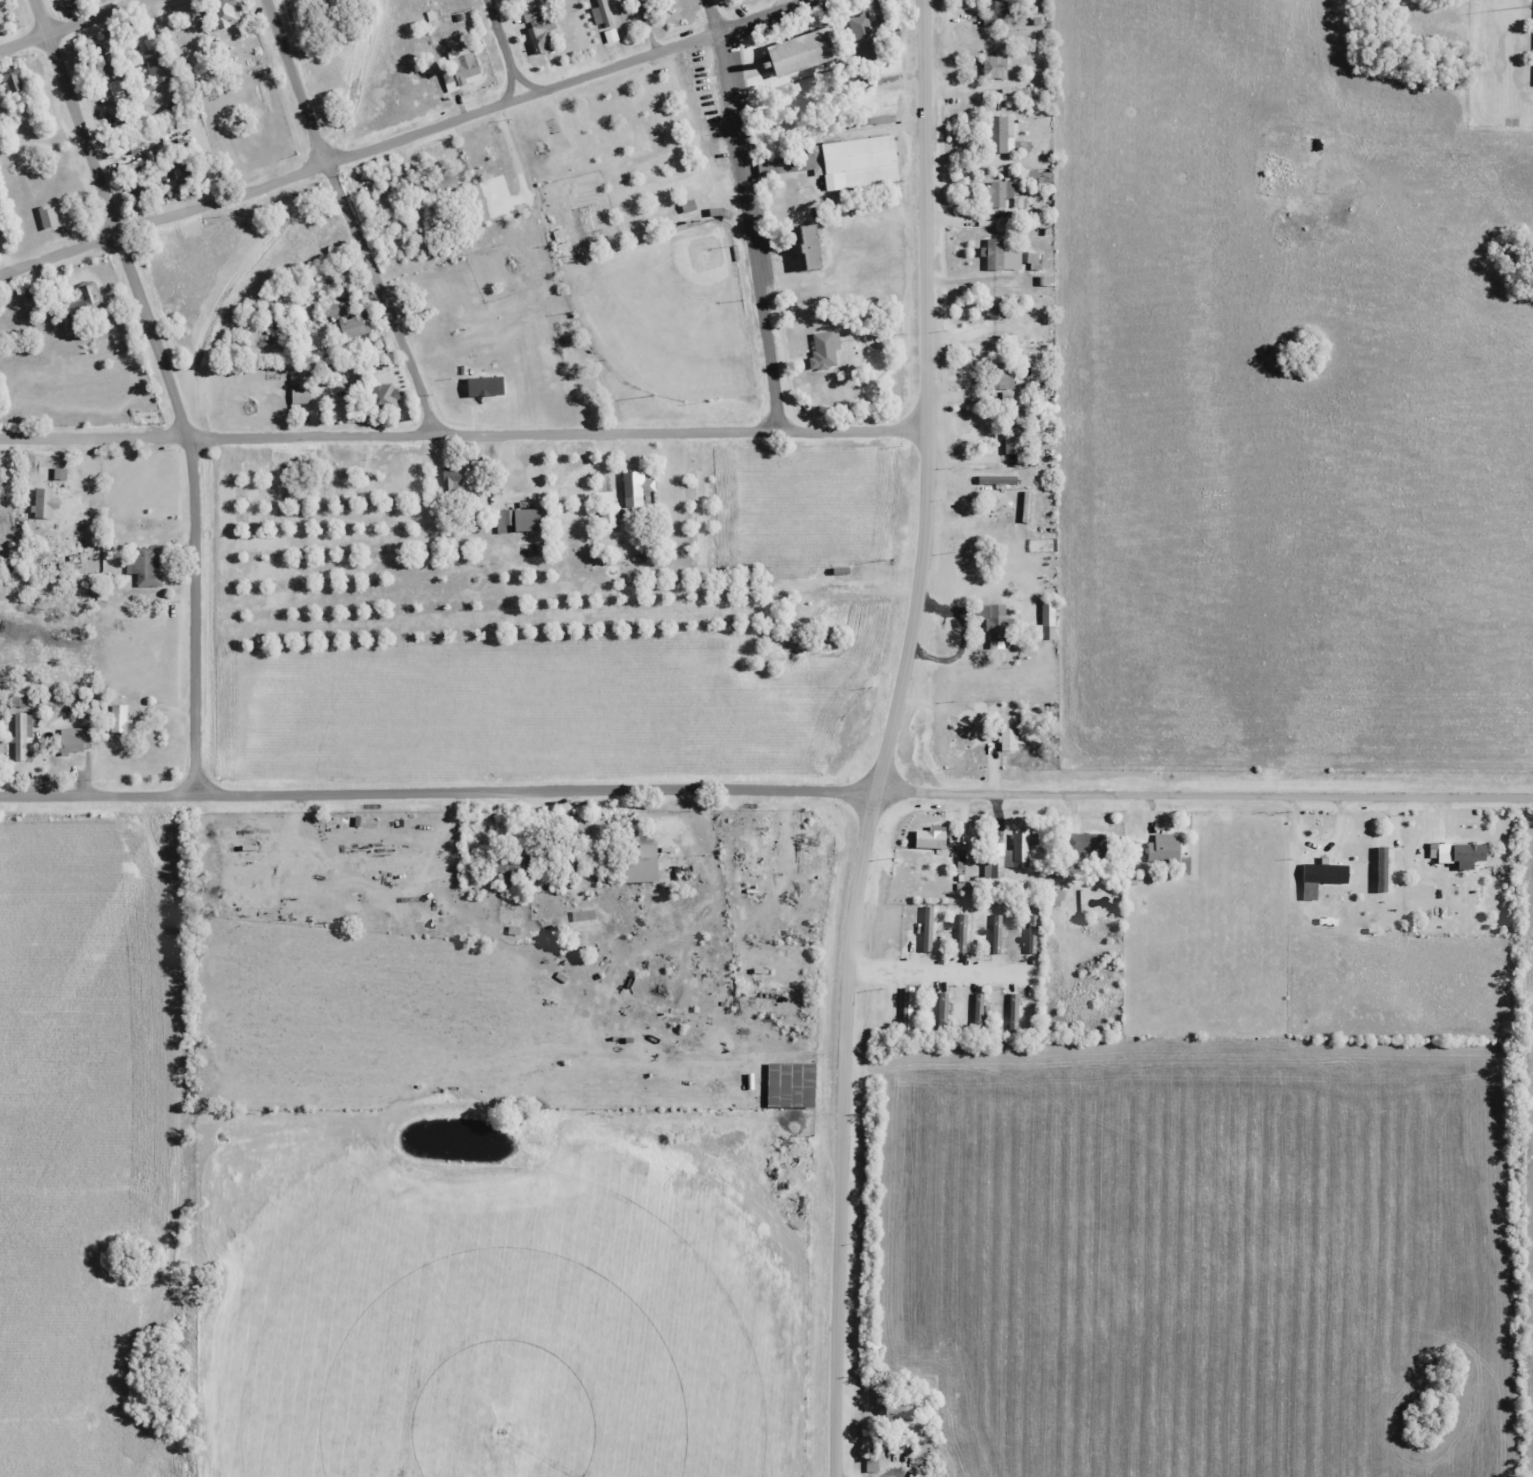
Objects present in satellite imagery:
building: (995, 10)
building: (222, 13)
building: (529, 13)
building: (601, 13)
building: (0, 21)
road: (73, 25)
building: (541, 35)
road: (506, 49)
building: (802, 50)
building: (154, 61)
building: (463, 65)
building: (993, 66)
building: (12, 79)
building: (999, 133)
road: (406, 137)
building: (131, 143)
building: (840, 162)
building: (184, 174)
building: (146, 183)
building: (442, 185)
building: (997, 193)
building: (687, 204)
road: (749, 214)
building: (47, 217)
road: (347, 217)
building: (807, 247)
building: (1009, 257)
building: (84, 303)
building: (995, 307)
park: (670, 313)
building: (352, 325)
building: (826, 343)
building: (1001, 376)
road: (174, 387)
building: (300, 395)
building: (383, 397)
road: (463, 433)
building: (1011, 438)
building: (997, 478)
building: (452, 479)
road: (925, 486)
building: (634, 487)
building: (43, 503)
building: (607, 514)
building: (528, 519)
building: (502, 521)
building: (998, 525)
building: (1044, 545)
building: (145, 566)
building: (1048, 618)
building: (996, 622)
building: (119, 719)
building: (1010, 732)
building: (22, 736)
building: (73, 740)
road: (678, 790)
road: (1445, 797)
building: (928, 838)
building: (1084, 842)
building: (1163, 847)
building: (1010, 853)
building: (515, 861)
building: (639, 868)
building: (1321, 876)
building: (1055, 897)
building: (927, 927)
building: (961, 932)
building: (1032, 932)
building: (997, 933)
building: (907, 1009)
building: (979, 1009)
building: (944, 1010)
building: (1013, 1013)
building: (618, 1025)
road: (840, 1221)
building: (871, 1463)

